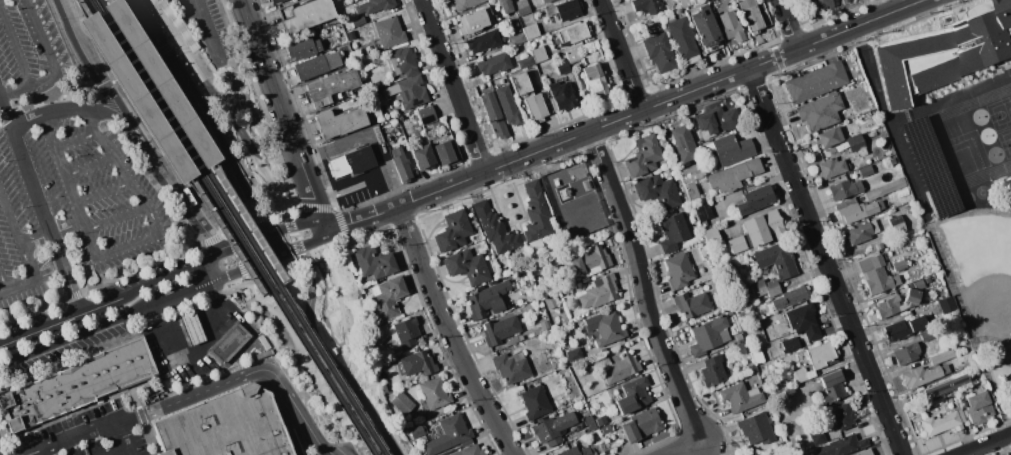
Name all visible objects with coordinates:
building: (335, 0)
building: (843, 0)
road: (152, 1)
building: (275, 1)
building: (546, 1)
building: (685, 2)
building: (464, 3)
building: (520, 4)
building: (823, 4)
building: (374, 6)
building: (505, 6)
building: (646, 6)
building: (726, 7)
building: (523, 10)
building: (565, 10)
building: (308, 15)
building: (750, 15)
road: (69, 20)
building: (476, 20)
building: (358, 21)
road: (789, 24)
building: (731, 26)
building: (515, 27)
building: (705, 28)
parking lot: (213, 29)
road: (210, 31)
building: (389, 31)
building: (531, 31)
building: (574, 32)
building: (351, 35)
building: (682, 38)
building: (518, 39)
building: (483, 41)
road: (69, 47)
building: (303, 48)
road: (164, 50)
building: (659, 52)
building: (903, 52)
building: (573, 54)
road: (620, 54)
building: (539, 55)
building: (404, 62)
building: (526, 62)
road: (172, 63)
building: (494, 63)
building: (311, 67)
building: (563, 67)
road: (135, 69)
road: (138, 72)
road: (203, 76)
road: (101, 79)
road: (42, 80)
building: (594, 80)
building: (816, 82)
building: (521, 83)
road: (453, 85)
road: (105, 86)
building: (331, 86)
road: (18, 89)
building: (150, 90)
building: (375, 92)
building: (409, 92)
building: (562, 95)
road: (43, 101)
road: (659, 102)
road: (65, 103)
building: (508, 105)
road: (183, 107)
building: (536, 107)
building: (820, 112)
road: (54, 113)
road: (110, 113)
park: (999, 113)
road: (284, 115)
building: (427, 115)
building: (494, 115)
park: (978, 116)
building: (402, 118)
road: (144, 120)
road: (889, 120)
building: (341, 121)
building: (716, 121)
building: (378, 134)
park: (985, 135)
building: (829, 137)
track: (971, 139)
railway: (193, 141)
road: (77, 142)
road: (220, 142)
park: (1005, 142)
building: (683, 143)
building: (852, 143)
railway: (173, 146)
building: (730, 149)
road: (186, 151)
road: (188, 152)
building: (447, 152)
road: (151, 154)
park: (962, 154)
park: (993, 154)
building: (644, 156)
building: (423, 157)
road: (116, 159)
building: (352, 162)
building: (401, 165)
building: (929, 166)
building: (832, 167)
road: (93, 168)
building: (865, 171)
building: (692, 173)
road: (68, 174)
parking lot: (65, 175)
building: (733, 175)
road: (363, 177)
road: (269, 181)
building: (845, 189)
building: (885, 189)
building: (691, 190)
building: (658, 191)
park: (981, 192)
road: (106, 194)
road: (246, 196)
park: (966, 197)
building: (755, 199)
road: (42, 201)
power substation: (573, 202)
building: (845, 203)
building: (880, 205)
road: (314, 207)
road: (278, 209)
building: (892, 210)
road: (12, 211)
building: (856, 211)
building: (704, 212)
building: (536, 215)
road: (362, 217)
road: (256, 218)
road: (200, 222)
building: (704, 223)
building: (897, 224)
road: (343, 226)
railway: (230, 227)
road: (236, 227)
railway: (240, 227)
road: (296, 227)
building: (453, 231)
building: (758, 231)
building: (862, 231)
building: (498, 232)
building: (672, 232)
road: (55, 233)
road: (293, 233)
building: (711, 235)
road: (211, 239)
road: (240, 245)
road: (275, 245)
road: (310, 245)
building: (879, 246)
building: (705, 248)
road: (100, 255)
road: (238, 256)
building: (776, 259)
road: (825, 261)
road: (299, 262)
building: (374, 262)
building: (589, 262)
building: (887, 264)
building: (899, 265)
building: (467, 266)
road: (213, 268)
road: (250, 268)
park: (977, 268)
building: (679, 270)
building: (876, 275)
road: (170, 276)
road: (36, 277)
road: (90, 278)
road: (6, 283)
building: (918, 284)
road: (642, 285)
building: (709, 285)
park: (980, 287)
building: (764, 288)
road: (186, 292)
building: (598, 292)
building: (912, 296)
road: (337, 297)
building: (388, 297)
building: (790, 297)
building: (482, 302)
building: (514, 302)
building: (550, 303)
building: (692, 304)
building: (946, 304)
building: (891, 307)
building: (763, 311)
building: (730, 313)
road: (324, 315)
building: (742, 315)
road: (61, 320)
road: (282, 321)
building: (803, 321)
building: (545, 325)
building: (192, 327)
building: (500, 329)
building: (770, 329)
building: (903, 329)
building: (609, 331)
building: (406, 332)
road: (449, 333)
road: (79, 334)
building: (709, 335)
building: (738, 337)
building: (512, 342)
building: (228, 343)
building: (790, 344)
road: (195, 345)
building: (743, 347)
park: (327, 351)
building: (573, 353)
building: (906, 353)
building: (757, 354)
road: (335, 356)
building: (821, 356)
building: (942, 357)
road: (334, 362)
building: (418, 363)
building: (511, 367)
building: (620, 368)
building: (751, 368)
building: (713, 371)
building: (800, 375)
building: (923, 375)
road: (243, 378)
building: (77, 385)
building: (385, 387)
building: (833, 387)
building: (939, 388)
building: (432, 393)
building: (789, 393)
building: (633, 395)
road: (136, 397)
building: (740, 397)
building: (402, 403)
building: (535, 403)
building: (977, 407)
road: (76, 410)
road: (143, 415)
building: (842, 416)
building: (601, 421)
building: (943, 422)
building: (590, 423)
building: (640, 425)
building: (224, 426)
road: (4, 428)
building: (553, 428)
building: (756, 428)
building: (606, 429)
building: (417, 431)
building: (816, 433)
parking lot: (91, 435)
building: (448, 435)
road: (73, 437)
road: (125, 437)
road: (152, 439)
building: (421, 440)
road: (27, 443)
road: (984, 444)
building: (842, 446)
road: (682, 447)
road: (118, 451)
building: (470, 451)
building: (575, 451)
building: (864, 452)
building: (747, 453)
building: (751, 453)
road: (31, 454)

